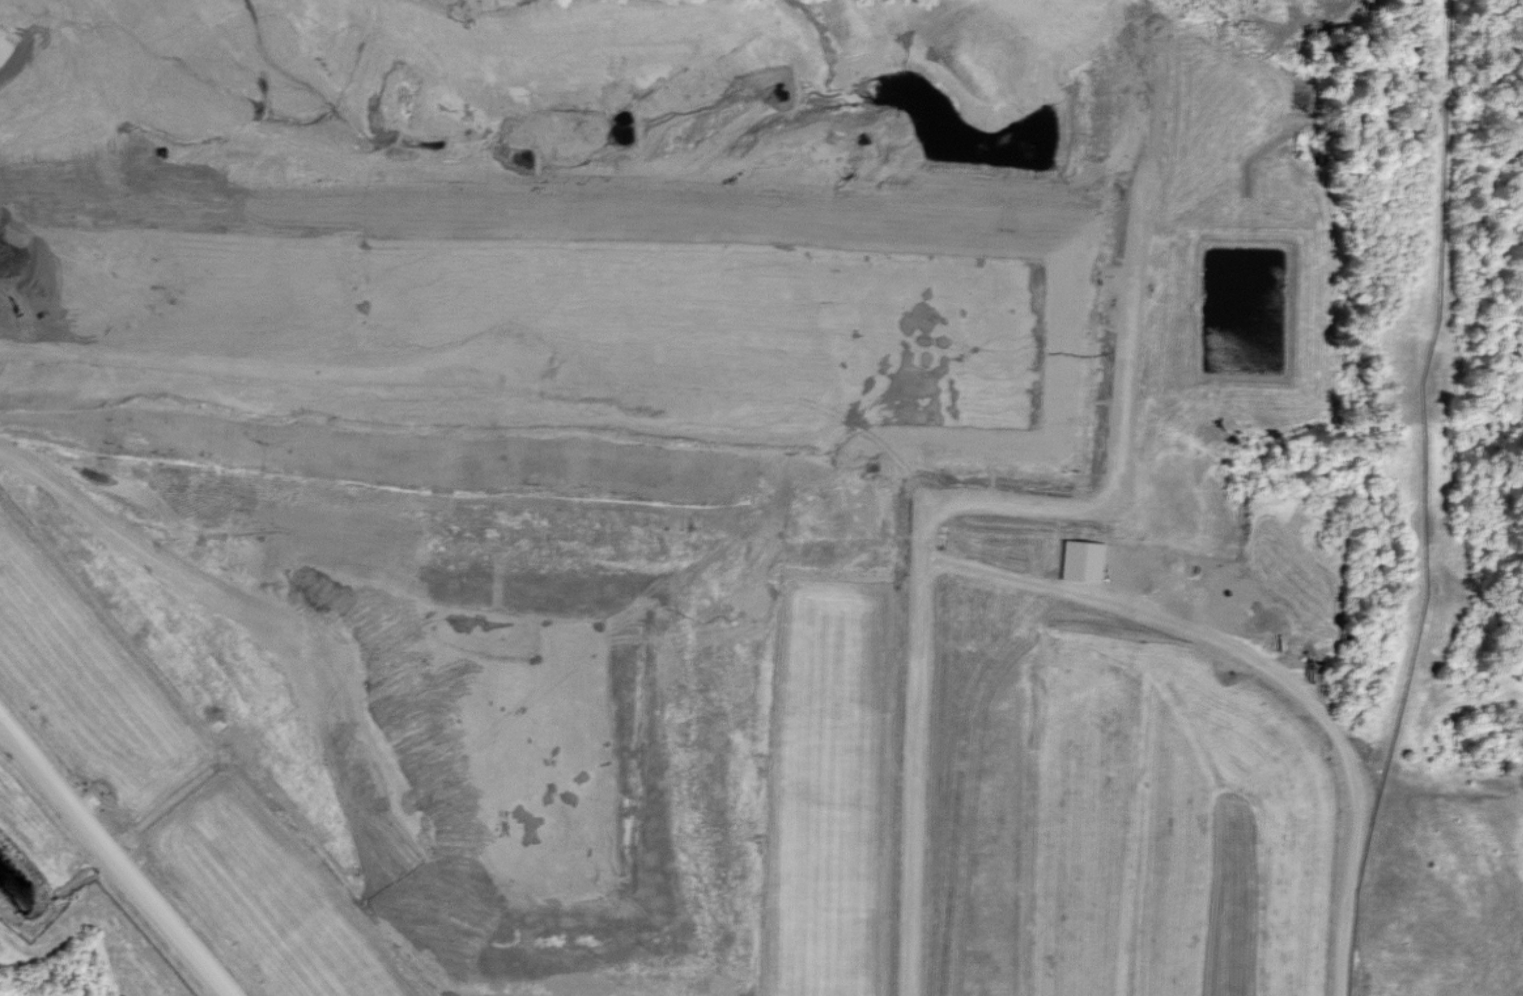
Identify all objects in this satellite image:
building: (1085, 560)
road: (1070, 594)

